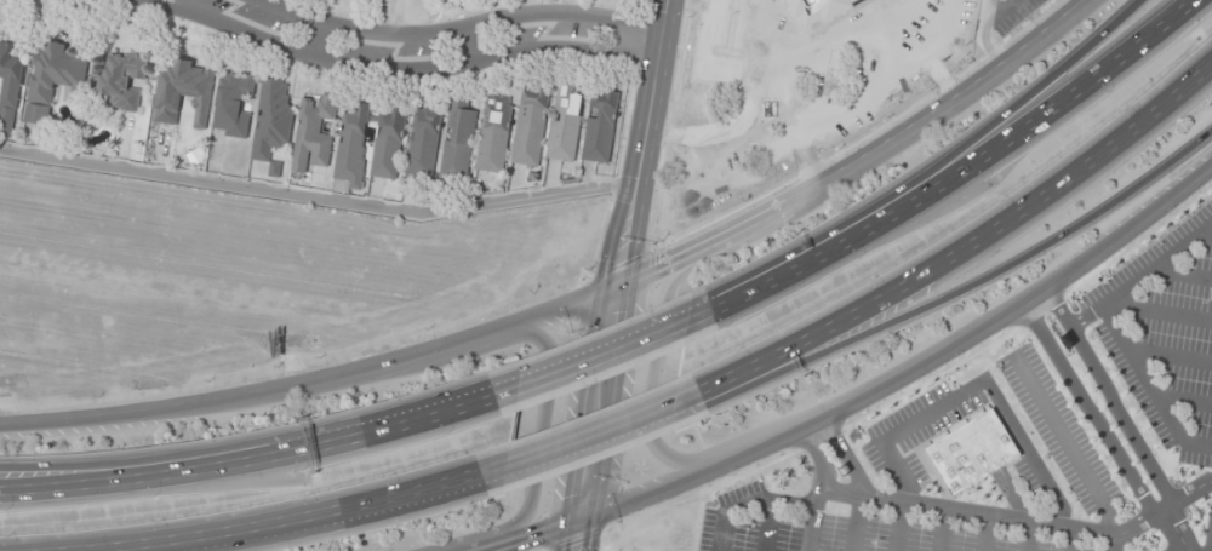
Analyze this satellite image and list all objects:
building: (915, 7)
road: (1000, 11)
parking lot: (1011, 15)
road: (454, 27)
road: (942, 34)
road: (981, 39)
road: (325, 41)
parking lot: (720, 44)
building: (770, 45)
road: (840, 47)
road: (701, 56)
road: (396, 70)
parking lot: (864, 73)
road: (750, 76)
building: (122, 80)
building: (53, 81)
road: (941, 85)
building: (8, 88)
road: (1037, 92)
building: (182, 93)
building: (233, 105)
road: (847, 110)
building: (271, 122)
building: (565, 124)
building: (530, 128)
building: (600, 128)
building: (313, 133)
building: (494, 134)
road: (708, 139)
building: (458, 140)
building: (423, 142)
building: (388, 143)
building: (351, 144)
road: (955, 172)
road: (316, 197)
road: (1205, 235)
road: (968, 245)
road: (622, 260)
road: (1182, 274)
road: (1142, 276)
traffic signals: (618, 289)
road: (972, 293)
road: (583, 302)
road: (1161, 312)
road: (596, 356)
road: (1170, 356)
road: (658, 375)
road: (1149, 385)
road: (977, 386)
road: (868, 392)
road: (1111, 400)
road: (1184, 402)
road: (1090, 411)
road: (662, 418)
road: (543, 431)
road: (593, 432)
road: (1065, 444)
road: (230, 447)
building: (968, 450)
road: (845, 453)
road: (817, 455)
road: (253, 464)
road: (750, 500)
road: (816, 520)
road: (1022, 520)
traffic signals: (581, 521)
road: (285, 522)
road: (579, 522)
road: (854, 523)
road: (766, 526)
road: (898, 526)
road: (941, 529)
road: (983, 533)
road: (1179, 535)
road: (1029, 536)
road: (1210, 538)
road: (1071, 540)
road: (196, 541)
road: (1114, 541)
road: (1183, 549)

